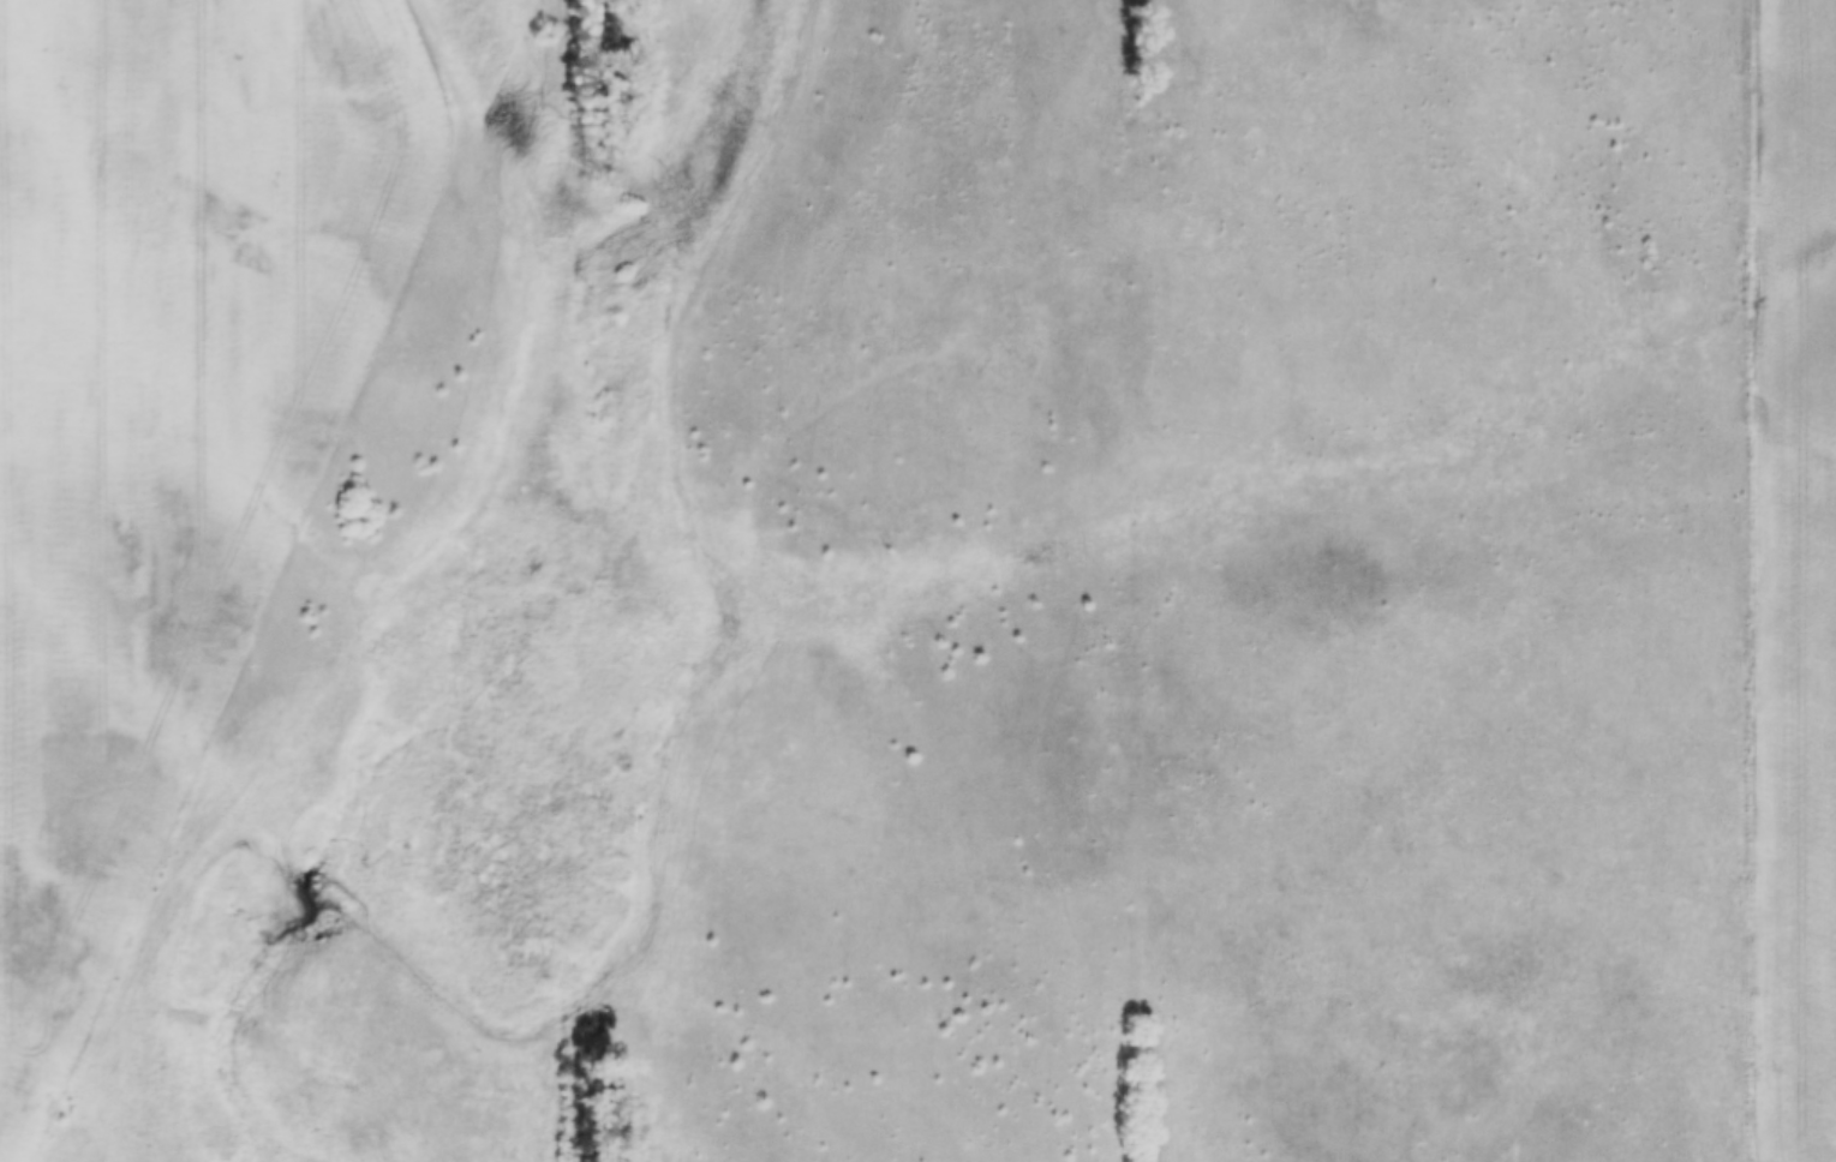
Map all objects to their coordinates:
road: (1762, 581)

